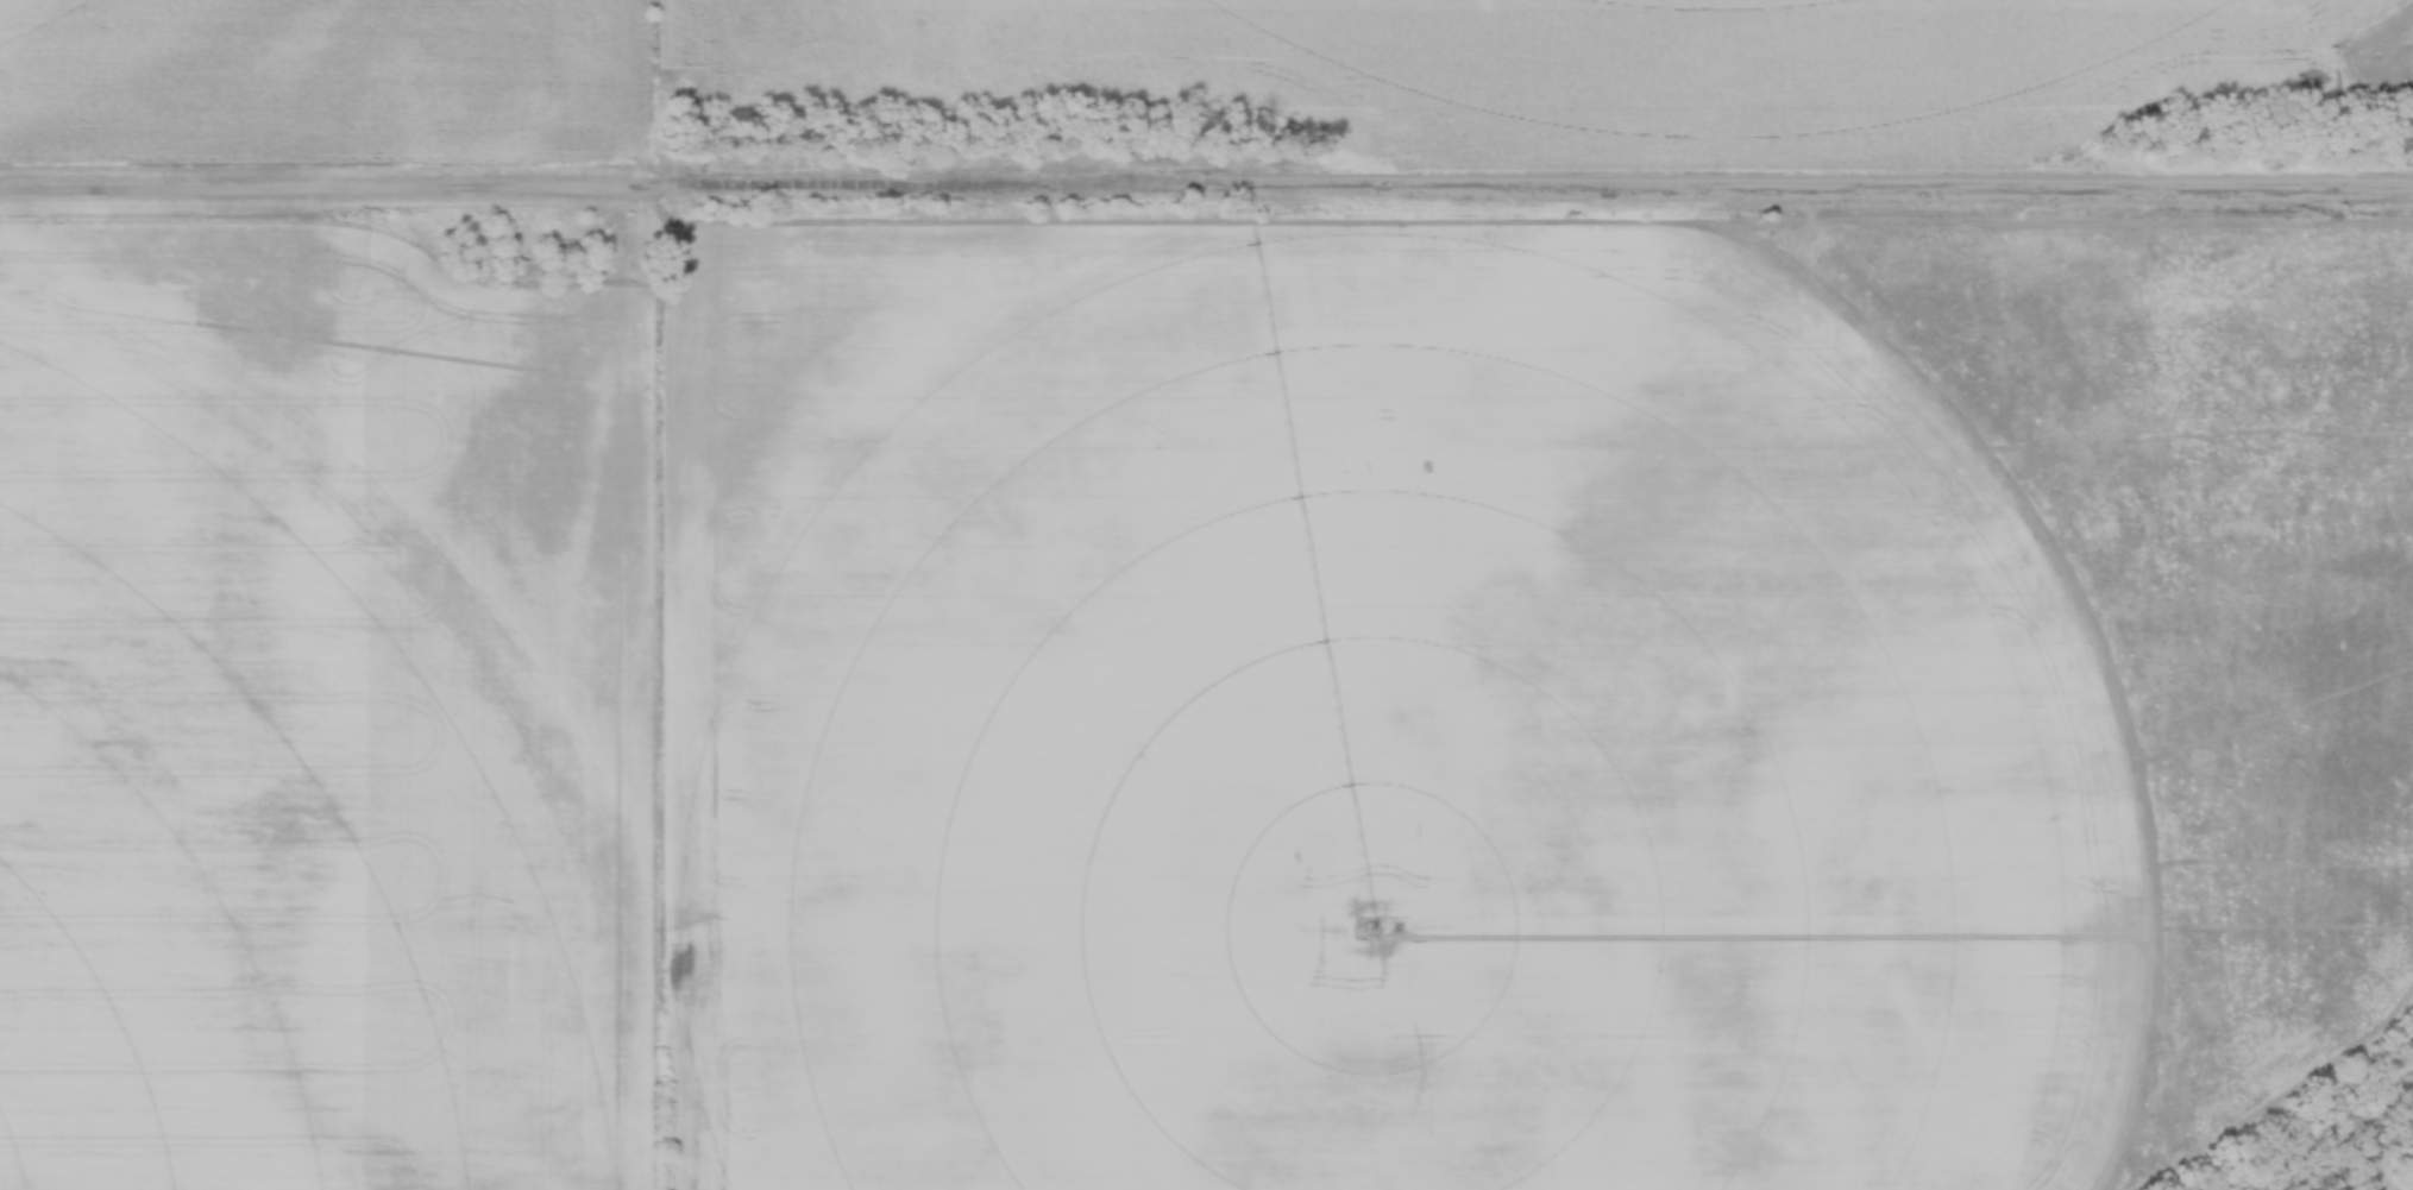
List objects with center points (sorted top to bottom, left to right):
road: (559, 193)
road: (1766, 194)

